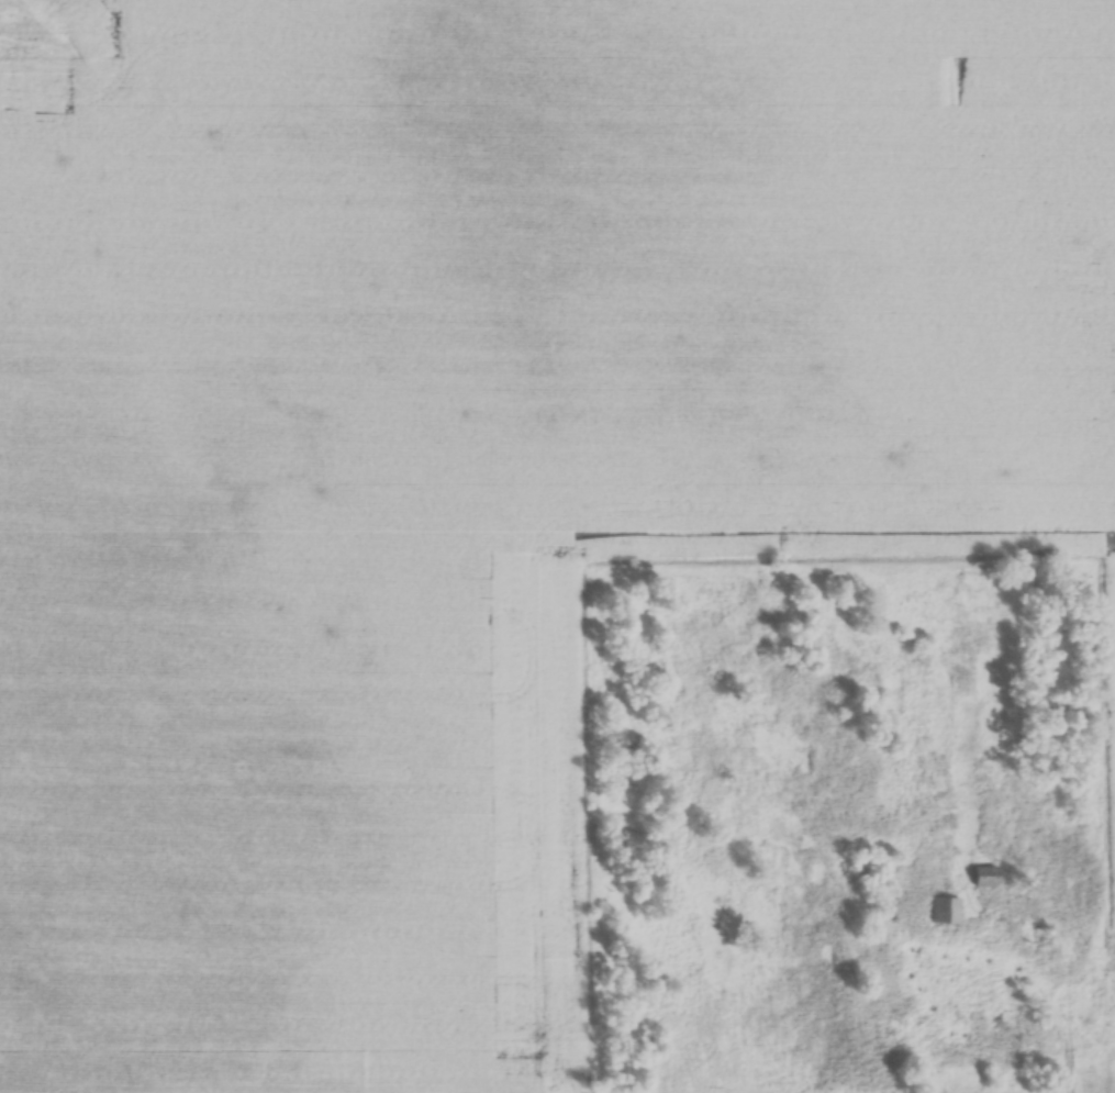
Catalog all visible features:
building: (983, 878)
building: (944, 911)

